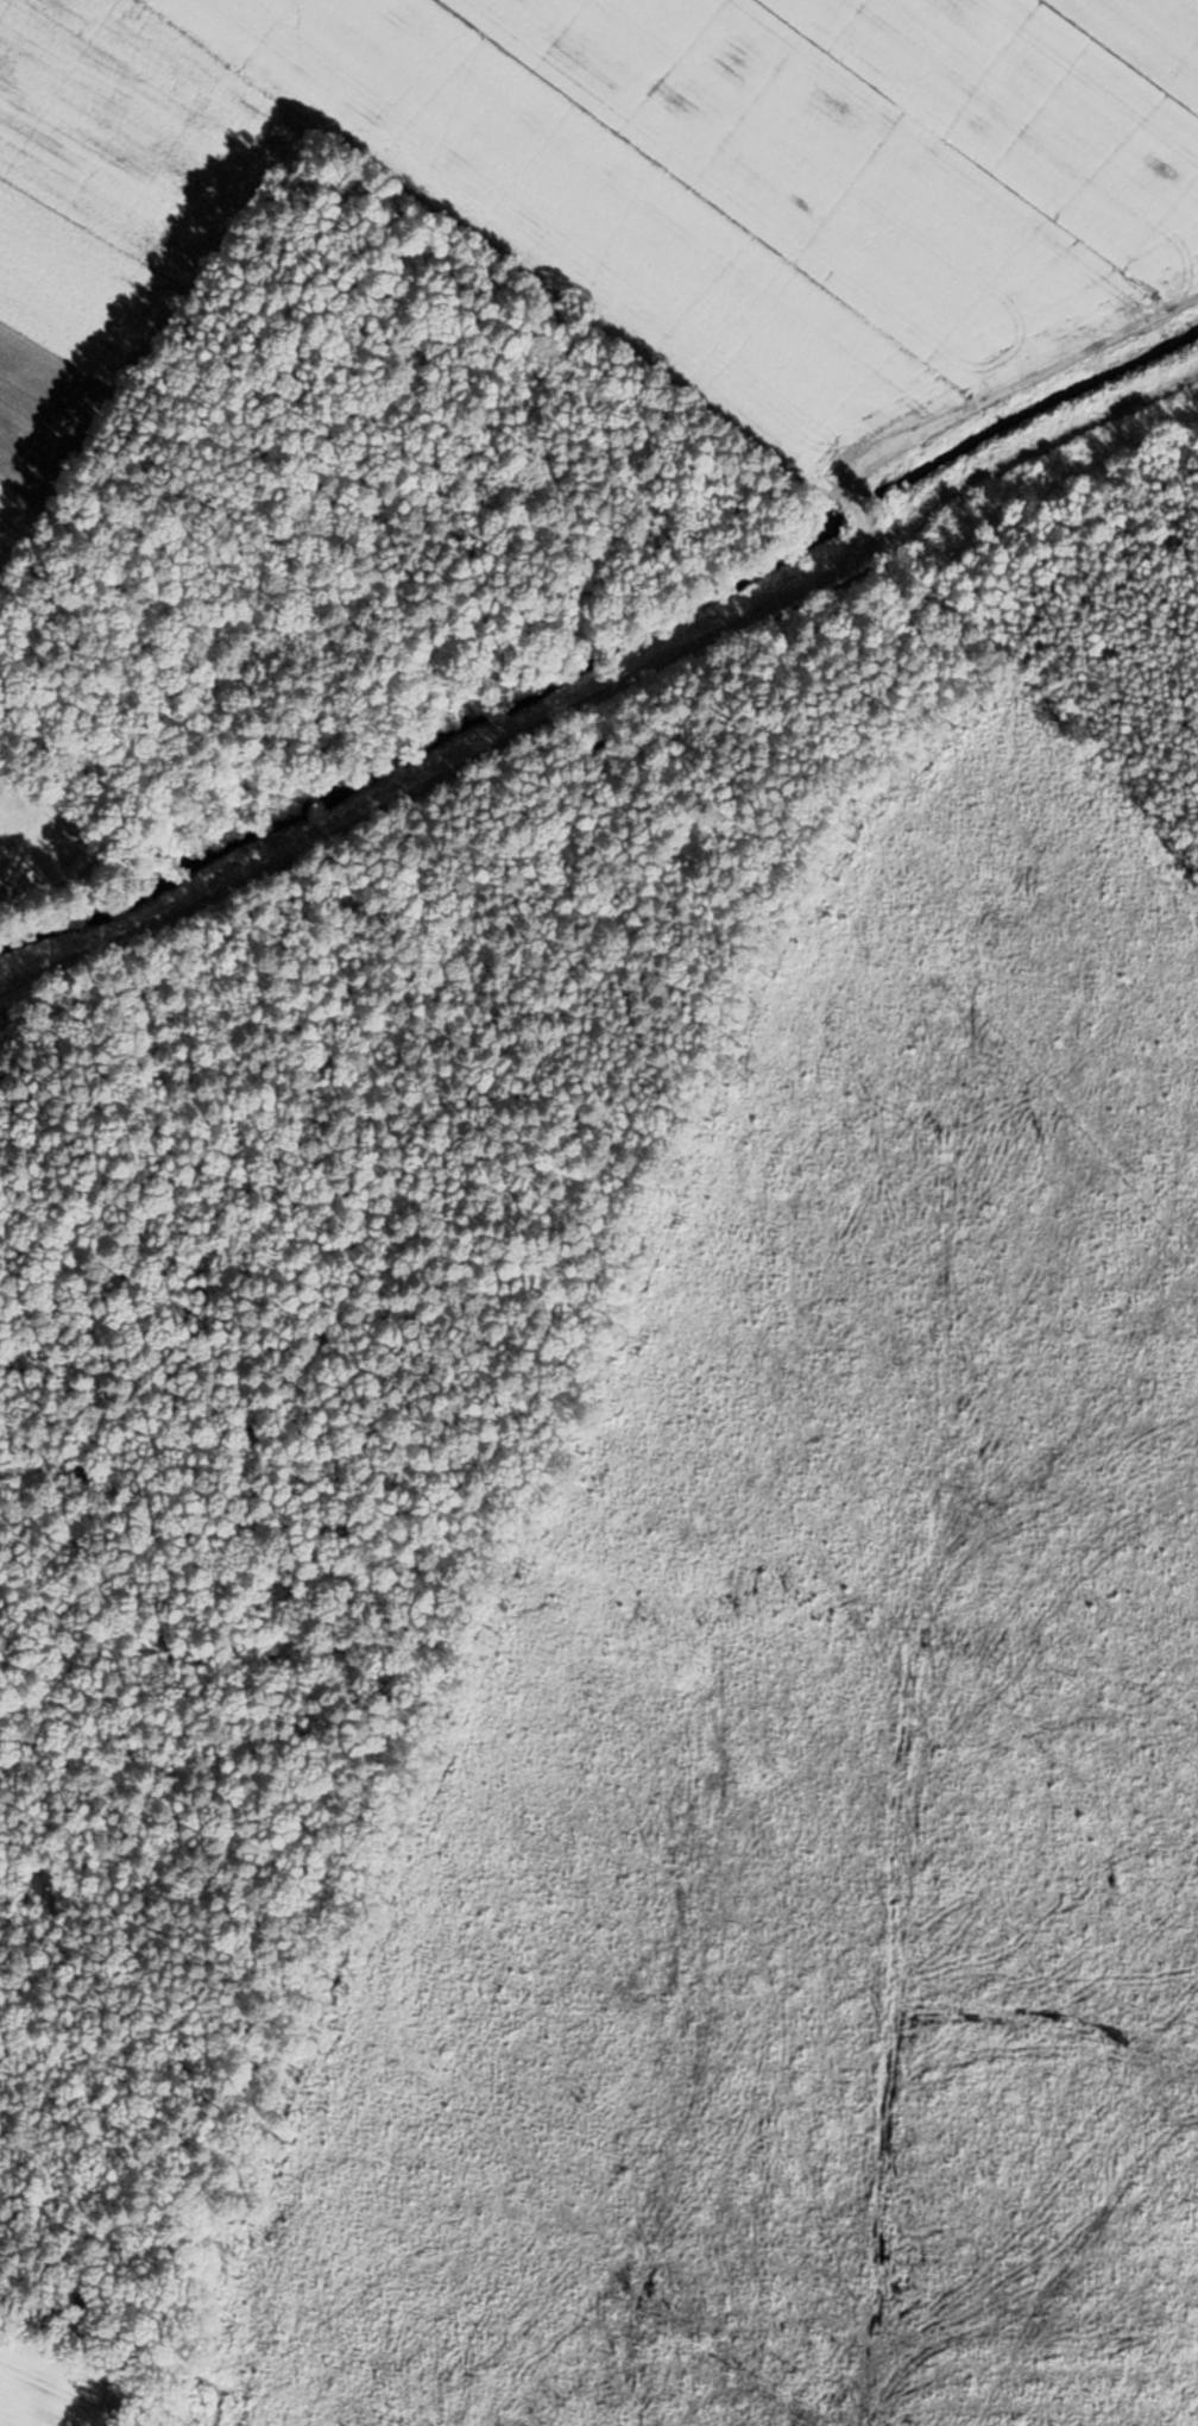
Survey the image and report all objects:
road: (636, 670)

